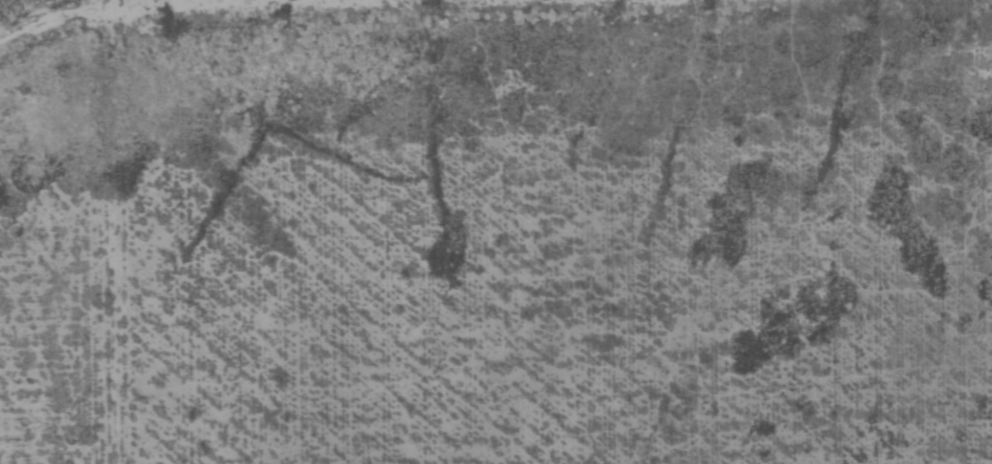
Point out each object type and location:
crop: (525, 232)

